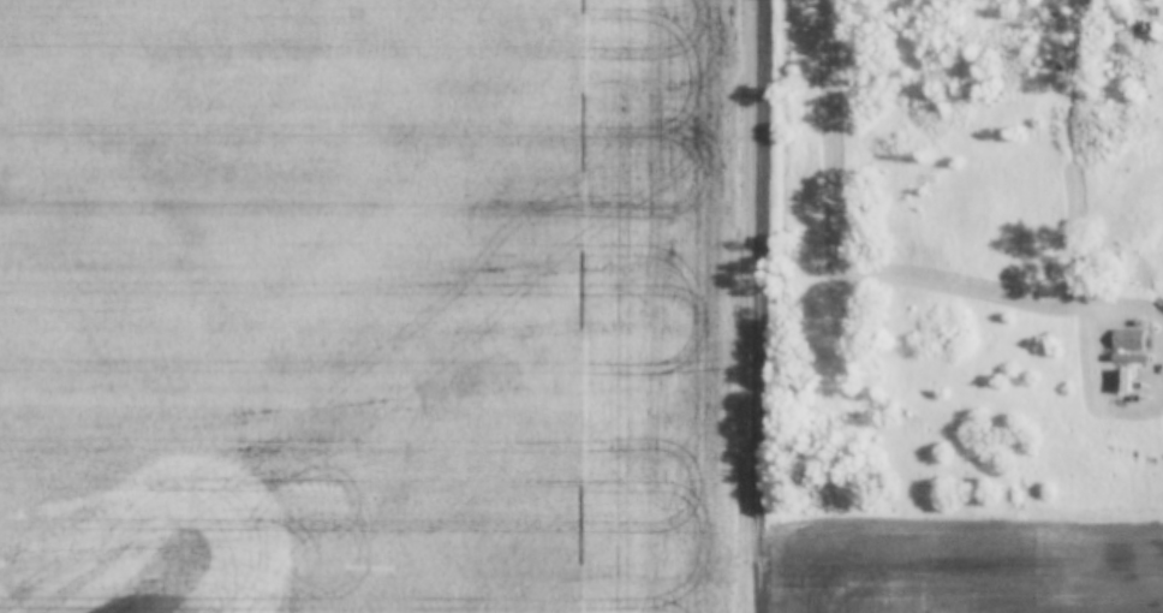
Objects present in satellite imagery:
road: (753, 305)
building: (1128, 339)
building: (1131, 358)
building: (1123, 381)

